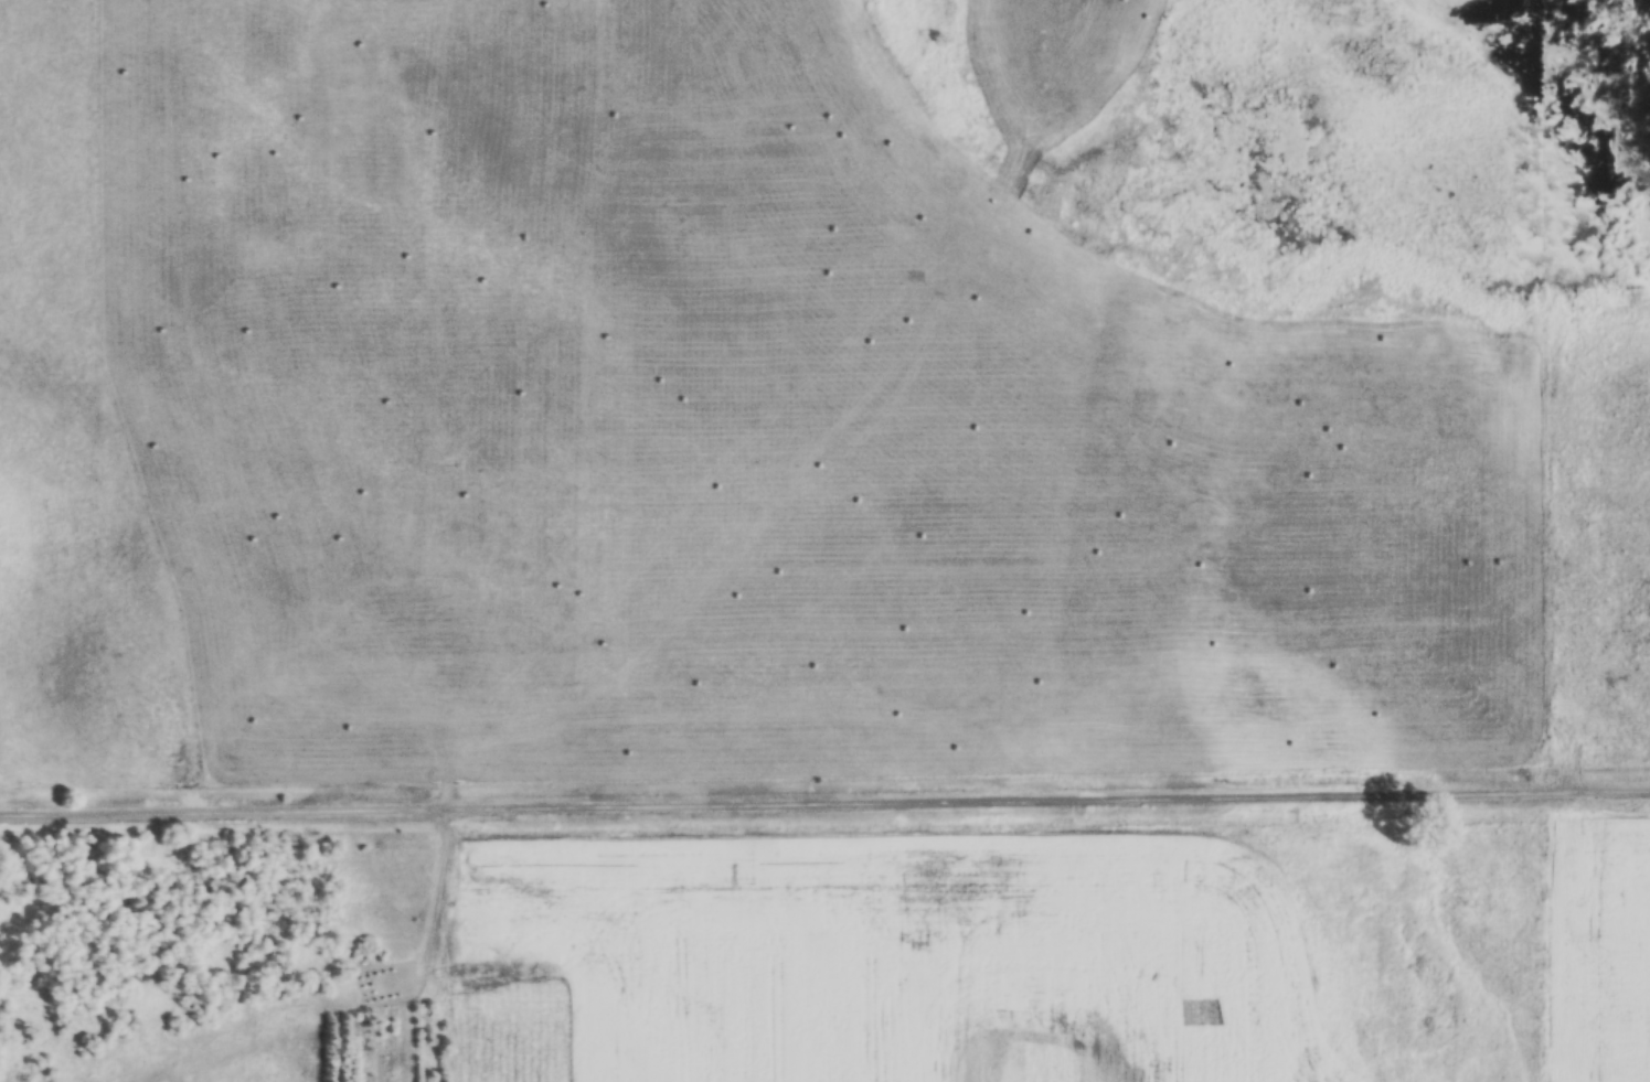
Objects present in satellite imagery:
road: (824, 801)

